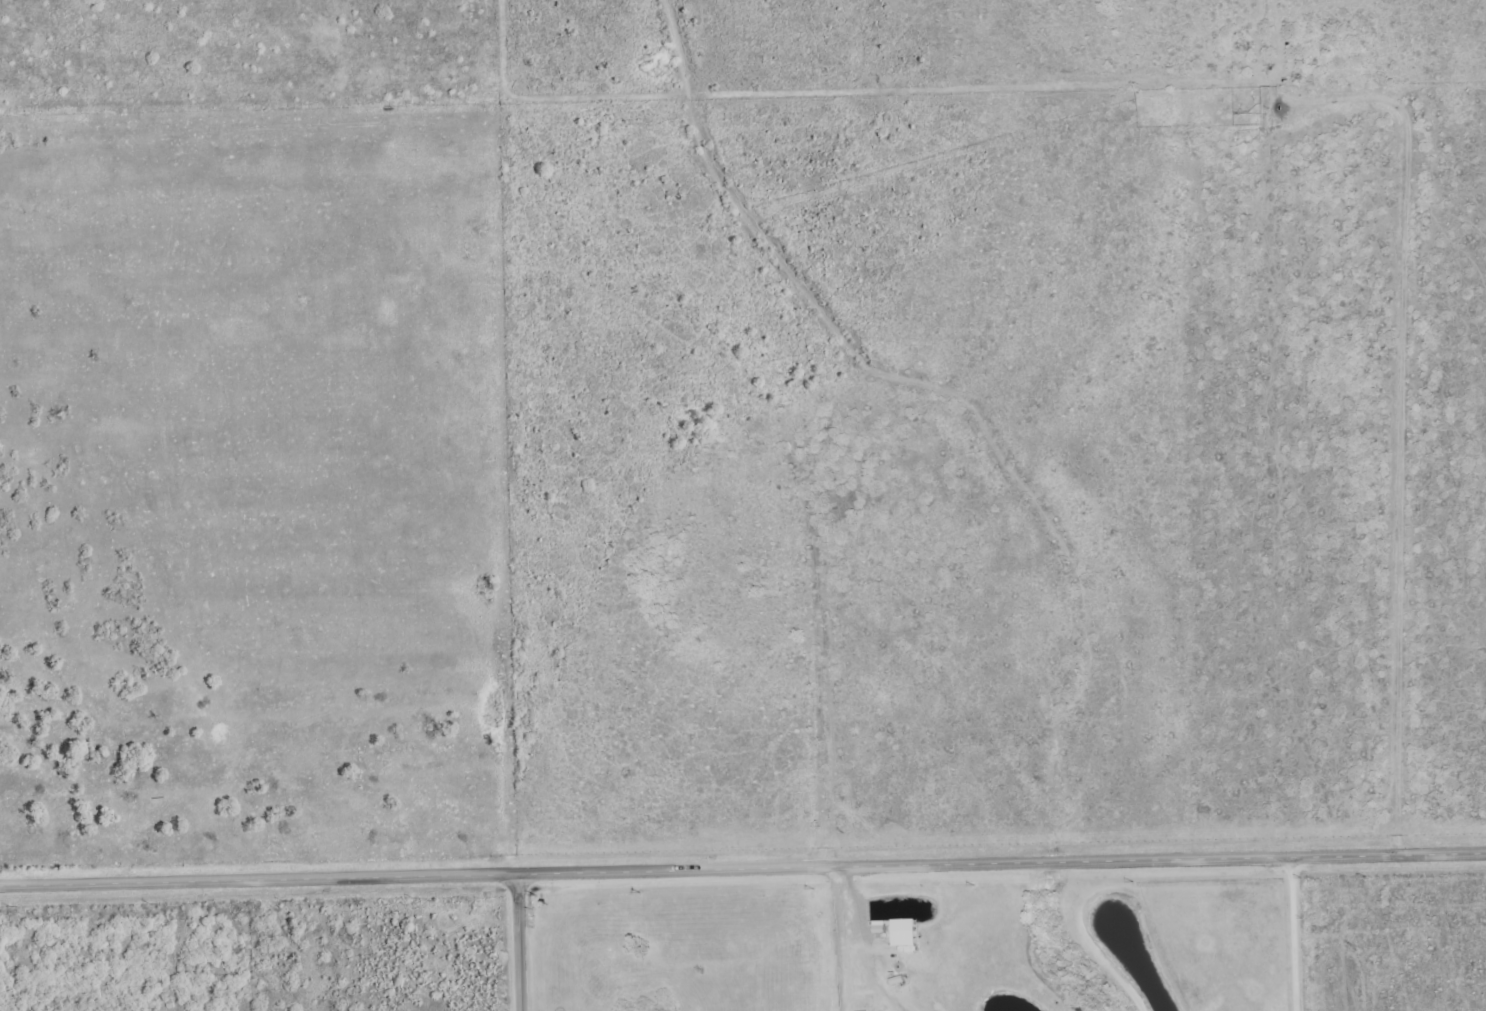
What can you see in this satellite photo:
road: (742, 869)
building: (905, 933)
road: (523, 943)

